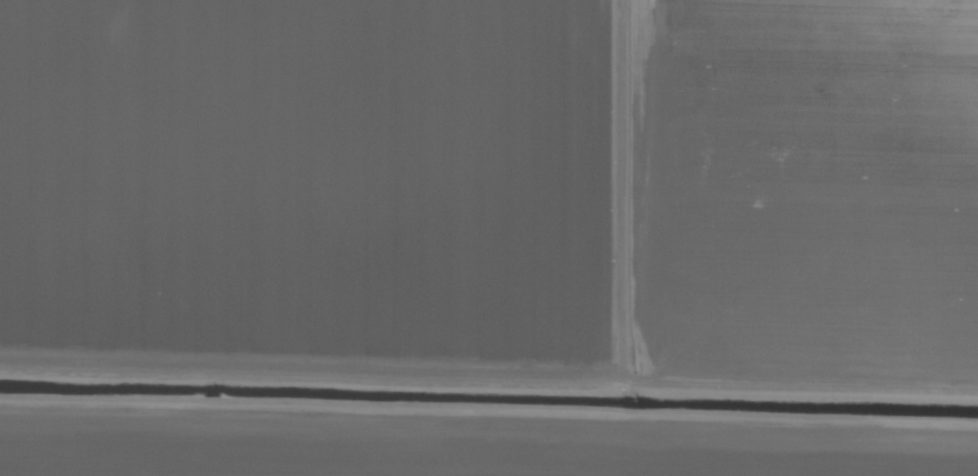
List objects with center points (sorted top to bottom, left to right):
crop: (489, 238)

